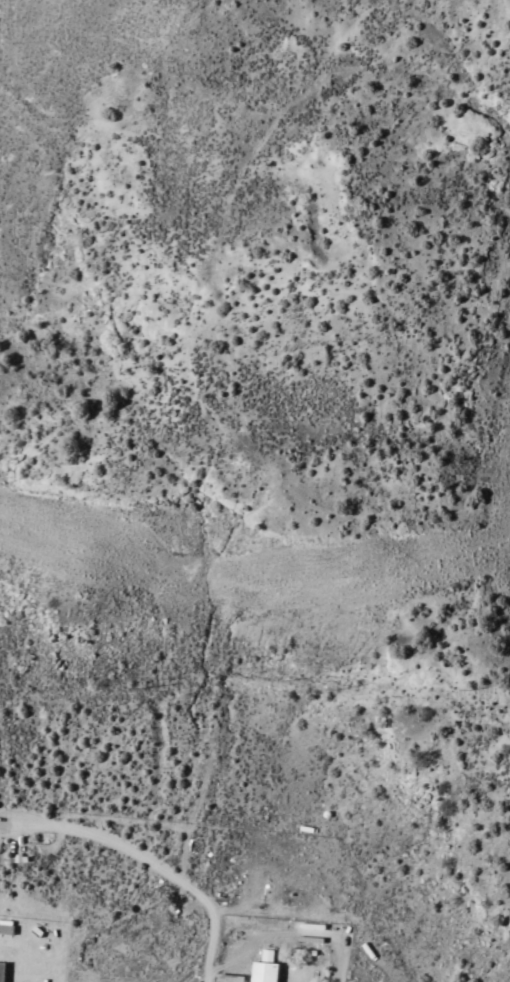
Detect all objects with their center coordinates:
railway: (254, 577)

